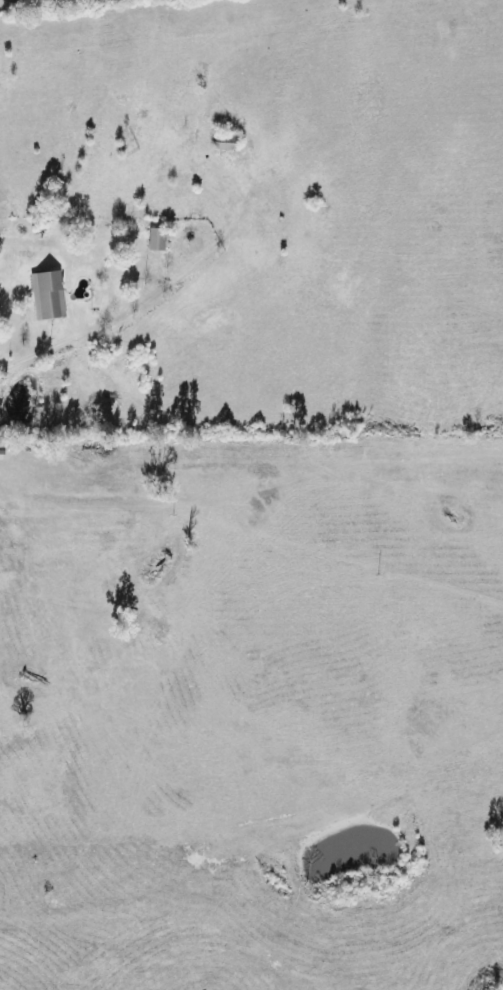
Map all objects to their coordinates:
building: (157, 240)
building: (48, 295)

